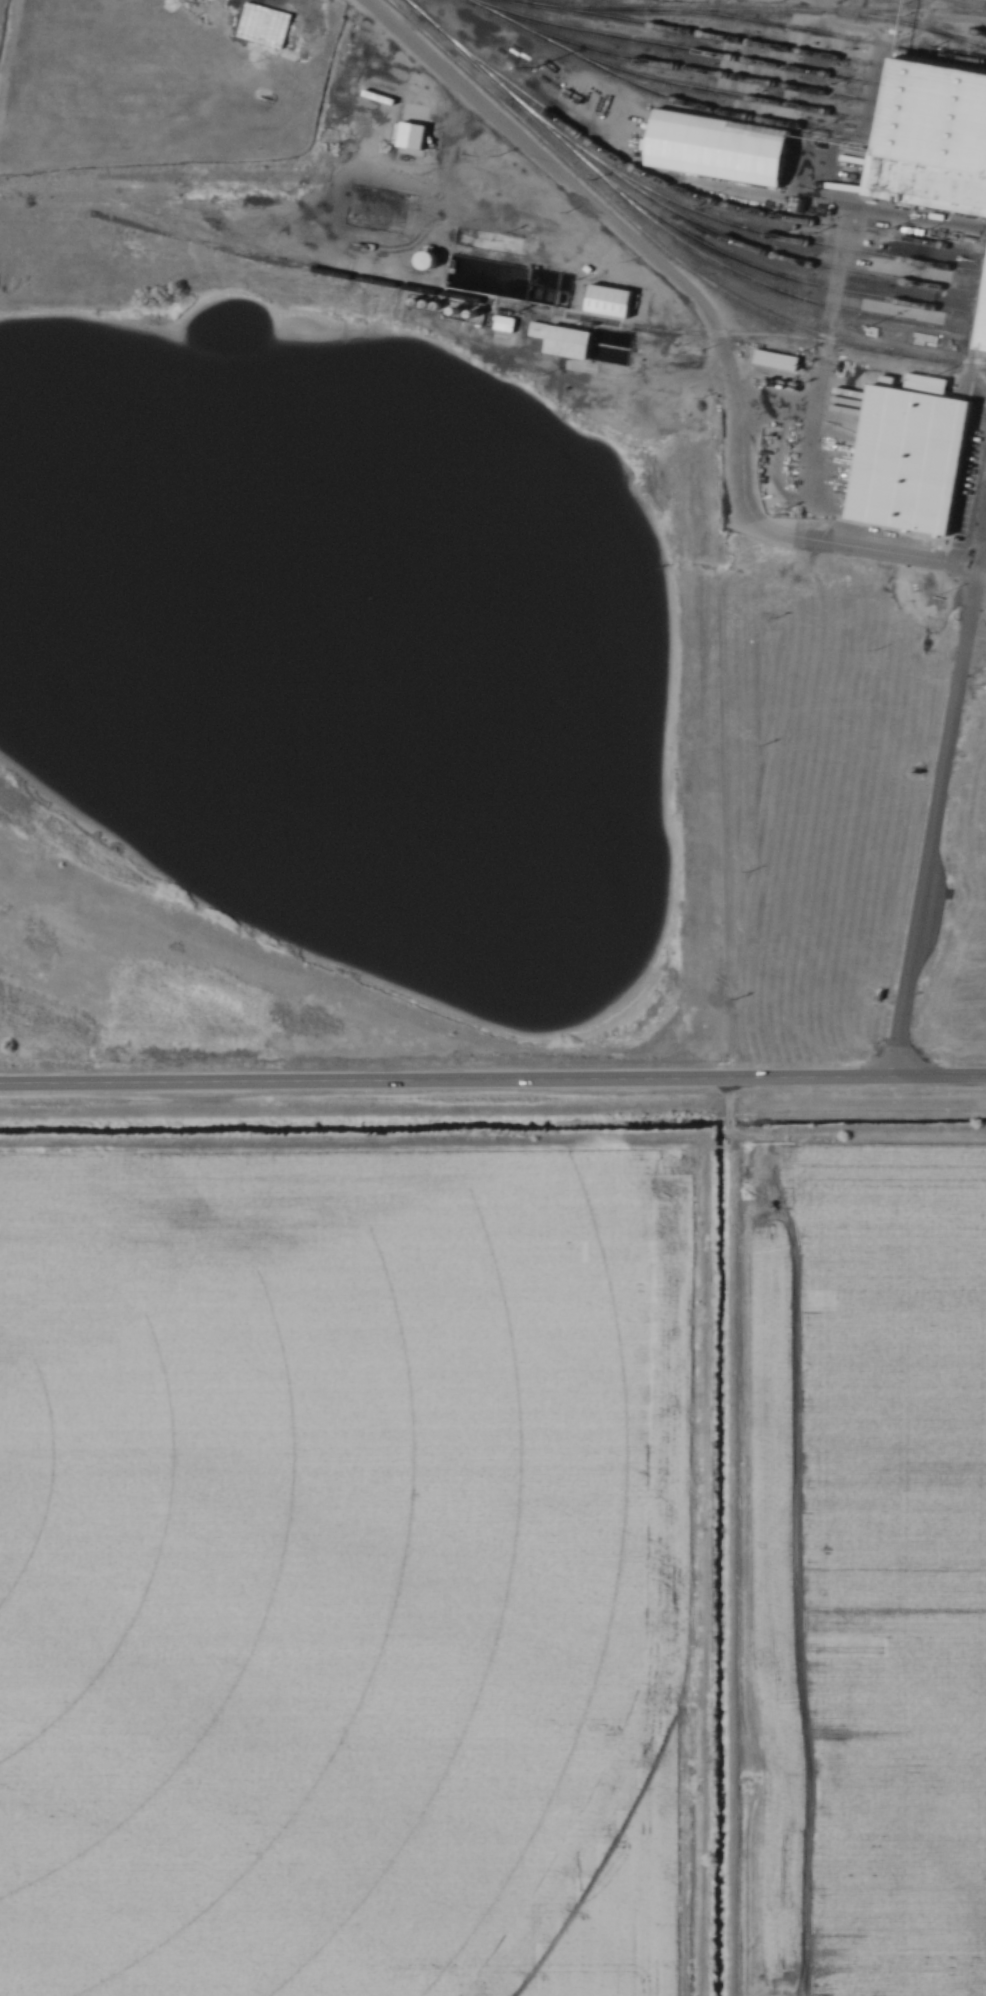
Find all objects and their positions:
railway: (955, 6)
railway: (746, 11)
railway: (891, 20)
railway: (935, 26)
railway: (838, 34)
railway: (721, 37)
railway: (679, 47)
railway: (697, 70)
railway: (940, 77)
building: (381, 87)
railway: (724, 93)
railway: (938, 94)
railway: (665, 96)
railway: (936, 112)
railway: (935, 129)
building: (932, 139)
building: (717, 149)
railway: (933, 150)
railway: (707, 199)
railway: (888, 205)
road: (835, 212)
railway: (660, 228)
railway: (796, 241)
railway: (654, 243)
railway: (743, 244)
building: (425, 259)
railway: (787, 278)
road: (689, 292)
railway: (472, 299)
building: (613, 300)
road: (387, 306)
building: (507, 321)
building: (542, 328)
railway: (984, 334)
building: (984, 336)
building: (571, 342)
railway: (958, 361)
building: (910, 458)
road: (982, 550)
road: (984, 551)
road: (980, 595)
parking lot: (976, 604)
road: (976, 636)
road: (934, 823)
road: (492, 1080)
crop: (896, 1563)
crop: (345, 1572)

